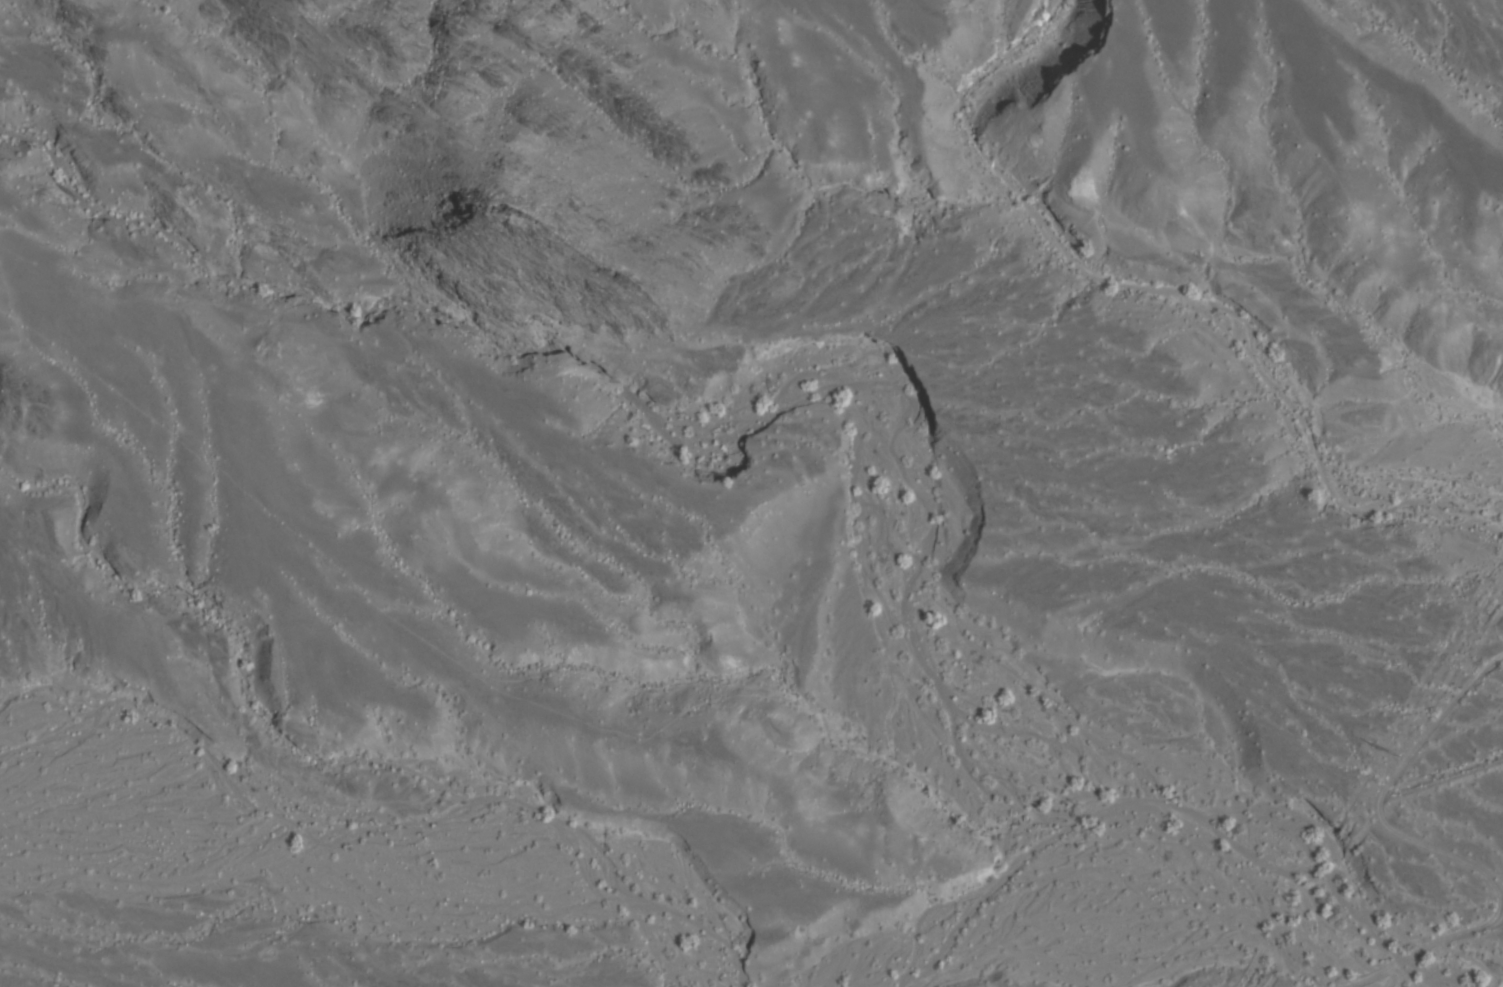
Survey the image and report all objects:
power tower: (1395, 751)

